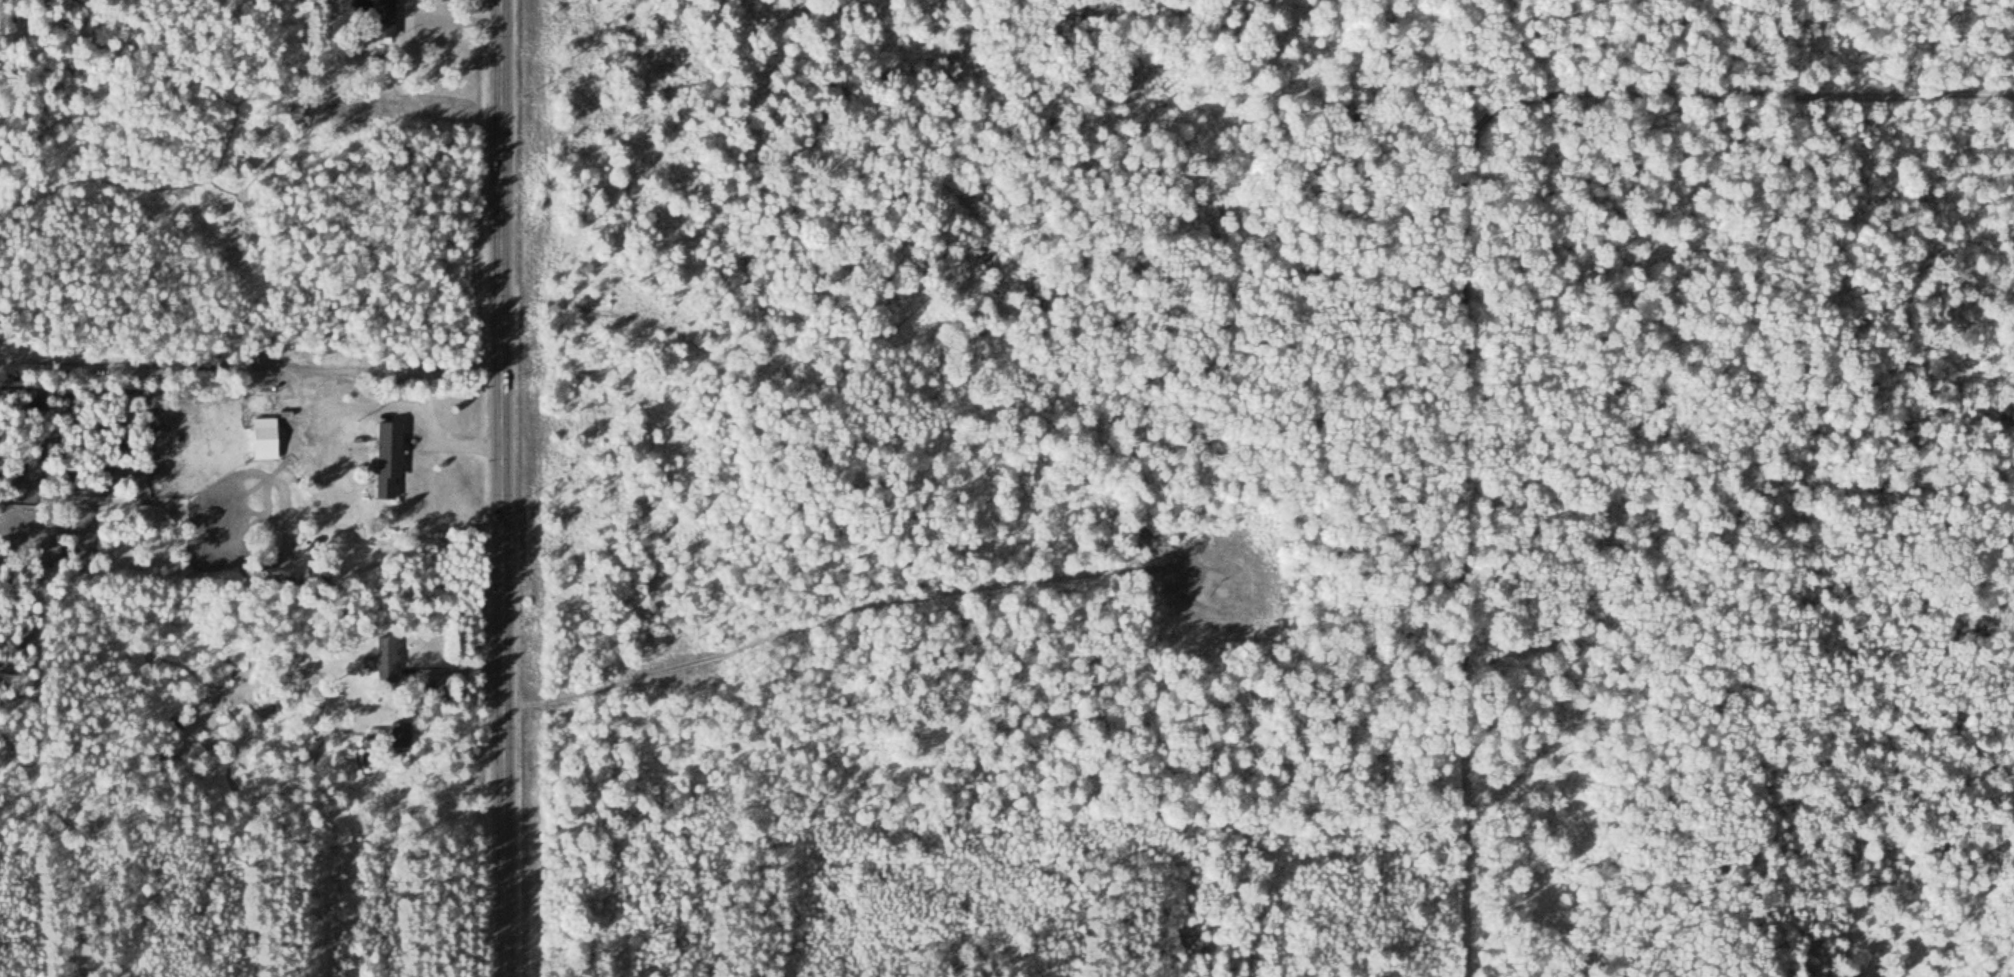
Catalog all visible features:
building: (381, 18)
building: (296, 113)
road: (1454, 277)
building: (263, 439)
building: (230, 446)
building: (386, 458)
road: (774, 481)
road: (502, 488)
road: (641, 530)
building: (384, 659)
building: (398, 735)

